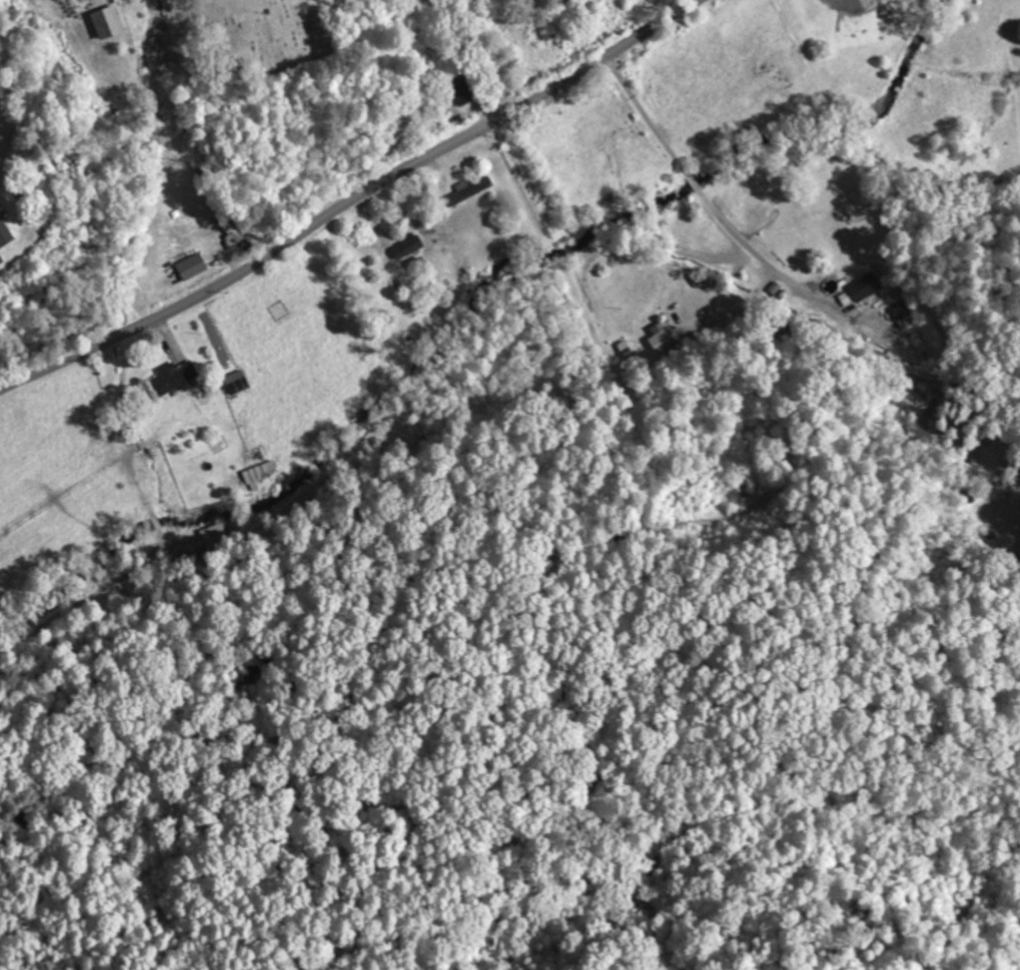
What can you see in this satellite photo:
building: (108, 24)
park: (253, 40)
road: (481, 51)
building: (460, 91)
building: (466, 194)
road: (353, 202)
building: (5, 234)
building: (409, 247)
building: (1, 260)
building: (192, 266)
building: (861, 290)
building: (903, 315)
building: (175, 378)
building: (237, 383)
building: (261, 471)

